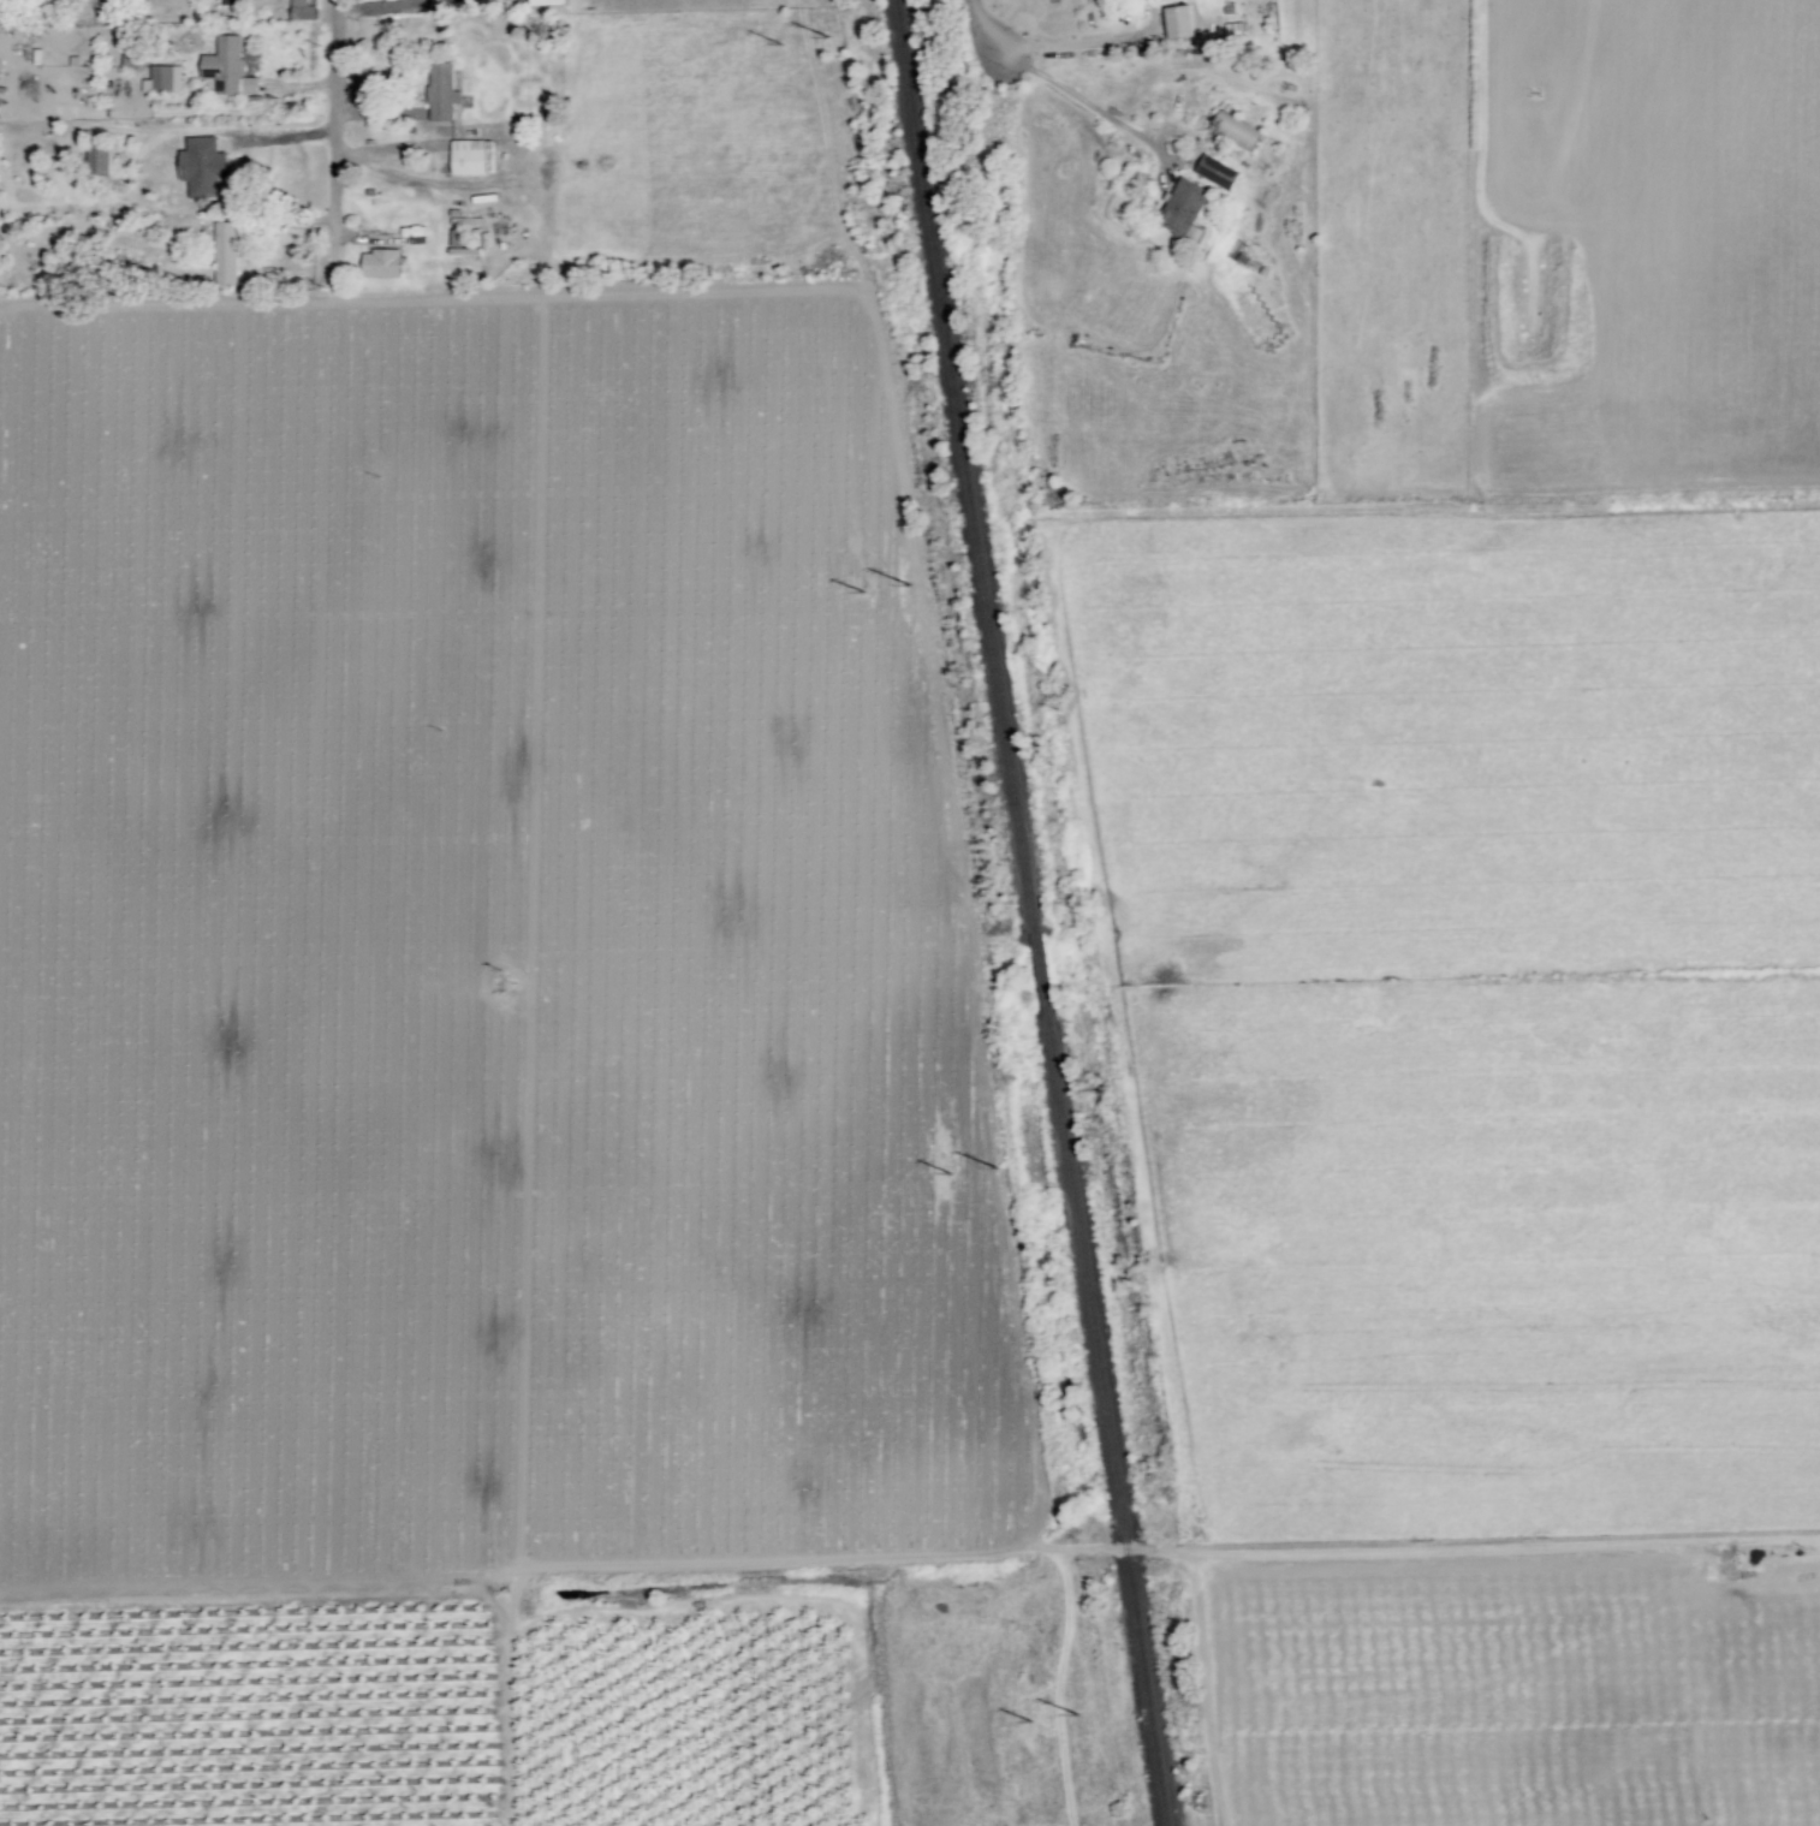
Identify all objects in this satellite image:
building: (227, 1)
building: (543, 1)
power tower: (775, 1)
building: (301, 10)
building: (1176, 22)
road: (988, 28)
road: (1077, 43)
building: (226, 66)
road: (1178, 69)
building: (161, 79)
building: (439, 91)
road: (337, 109)
road: (426, 129)
building: (1232, 130)
building: (470, 156)
building: (200, 167)
building: (1217, 169)
building: (1182, 210)
building: (457, 228)
building: (224, 254)
building: (379, 263)
railway: (971, 469)
power tower: (860, 566)
railway: (1046, 979)
power tower: (950, 1158)
railway: (1112, 1421)
road: (1117, 1550)
power tower: (1030, 1705)

